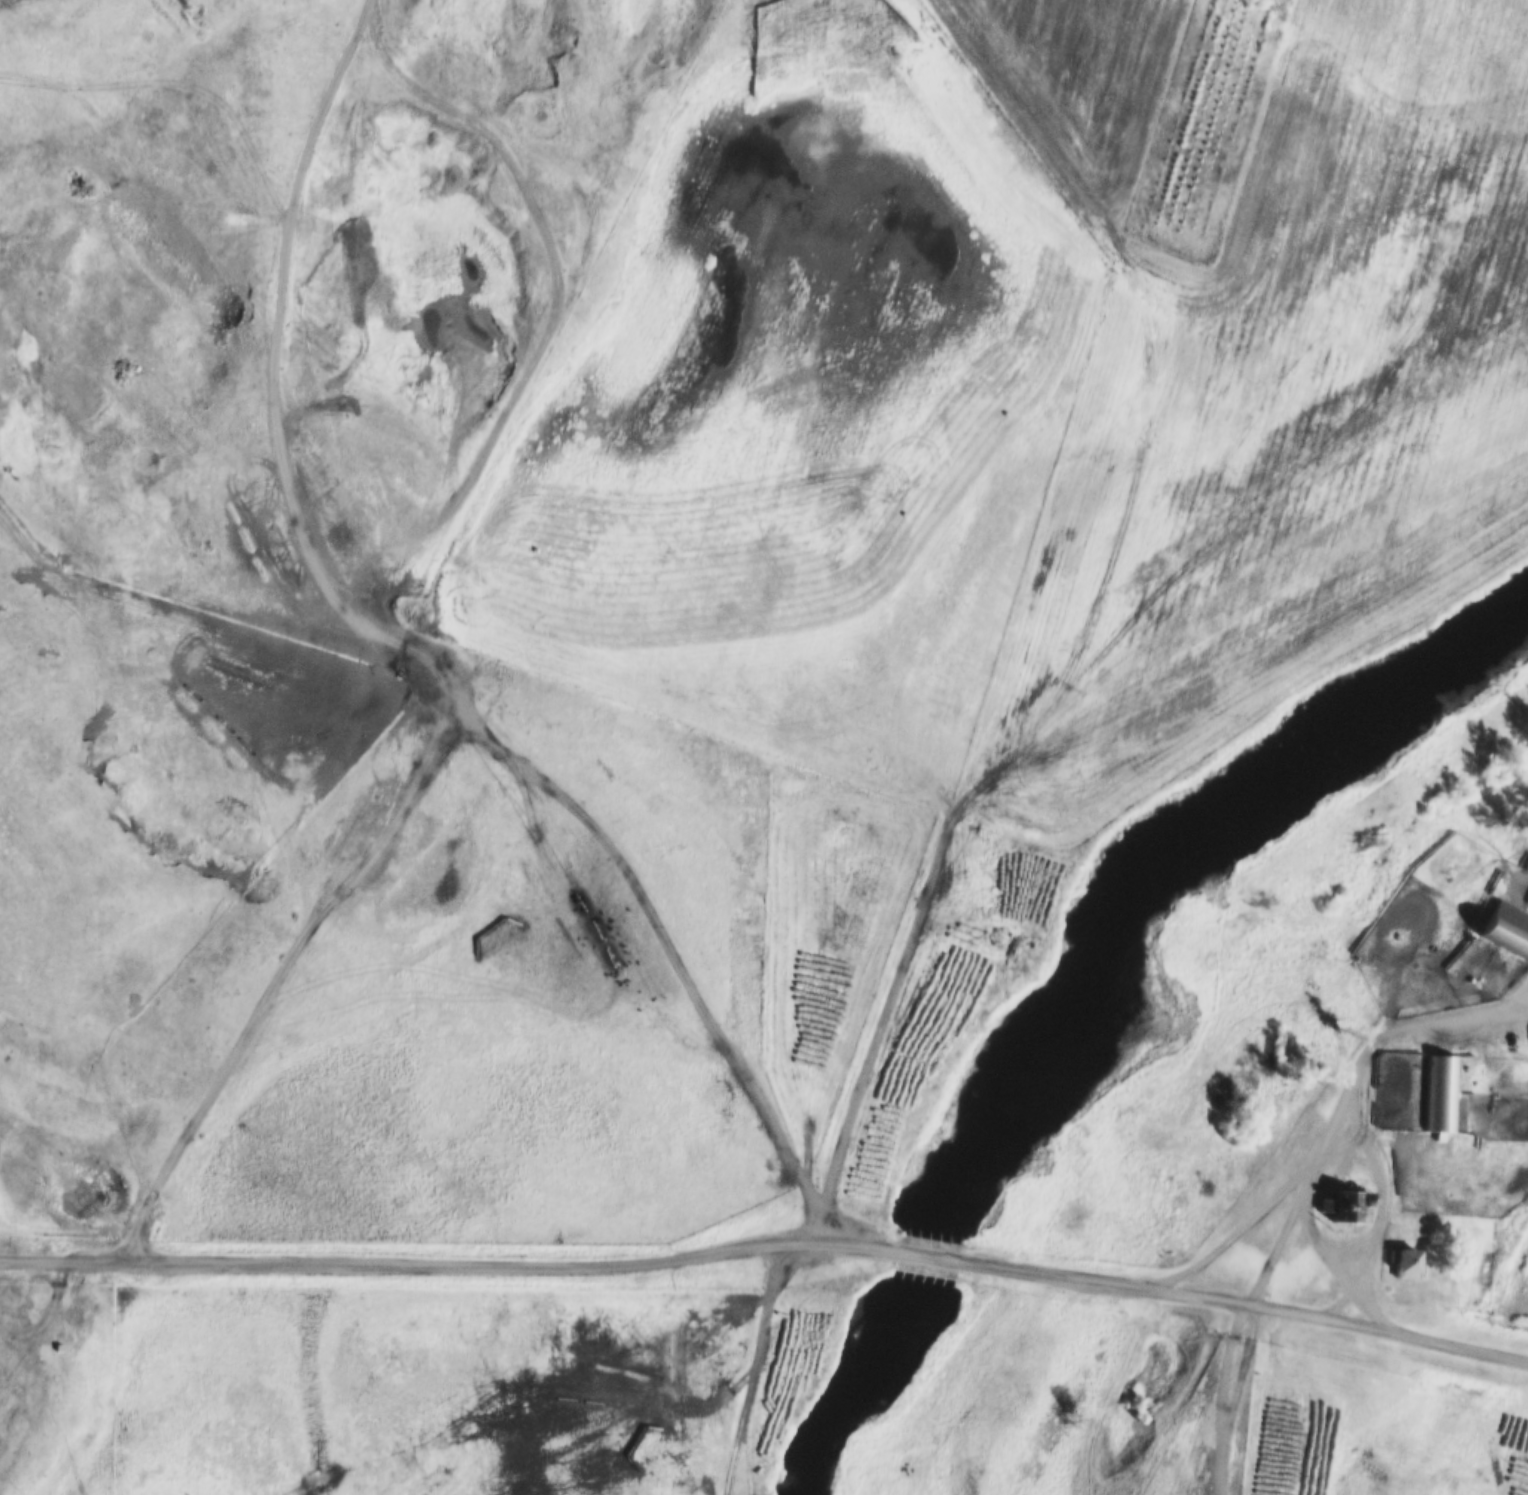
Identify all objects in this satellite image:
road: (404, 604)
road: (403, 644)
building: (1503, 929)
river: (1089, 984)
road: (1515, 997)
building: (1440, 1096)
road: (1331, 1133)
building: (1338, 1209)
road: (1378, 1212)
road: (1280, 1232)
road: (769, 1233)
building: (1400, 1261)
road: (1341, 1265)
building: (46, 1352)
road: (1226, 1397)

